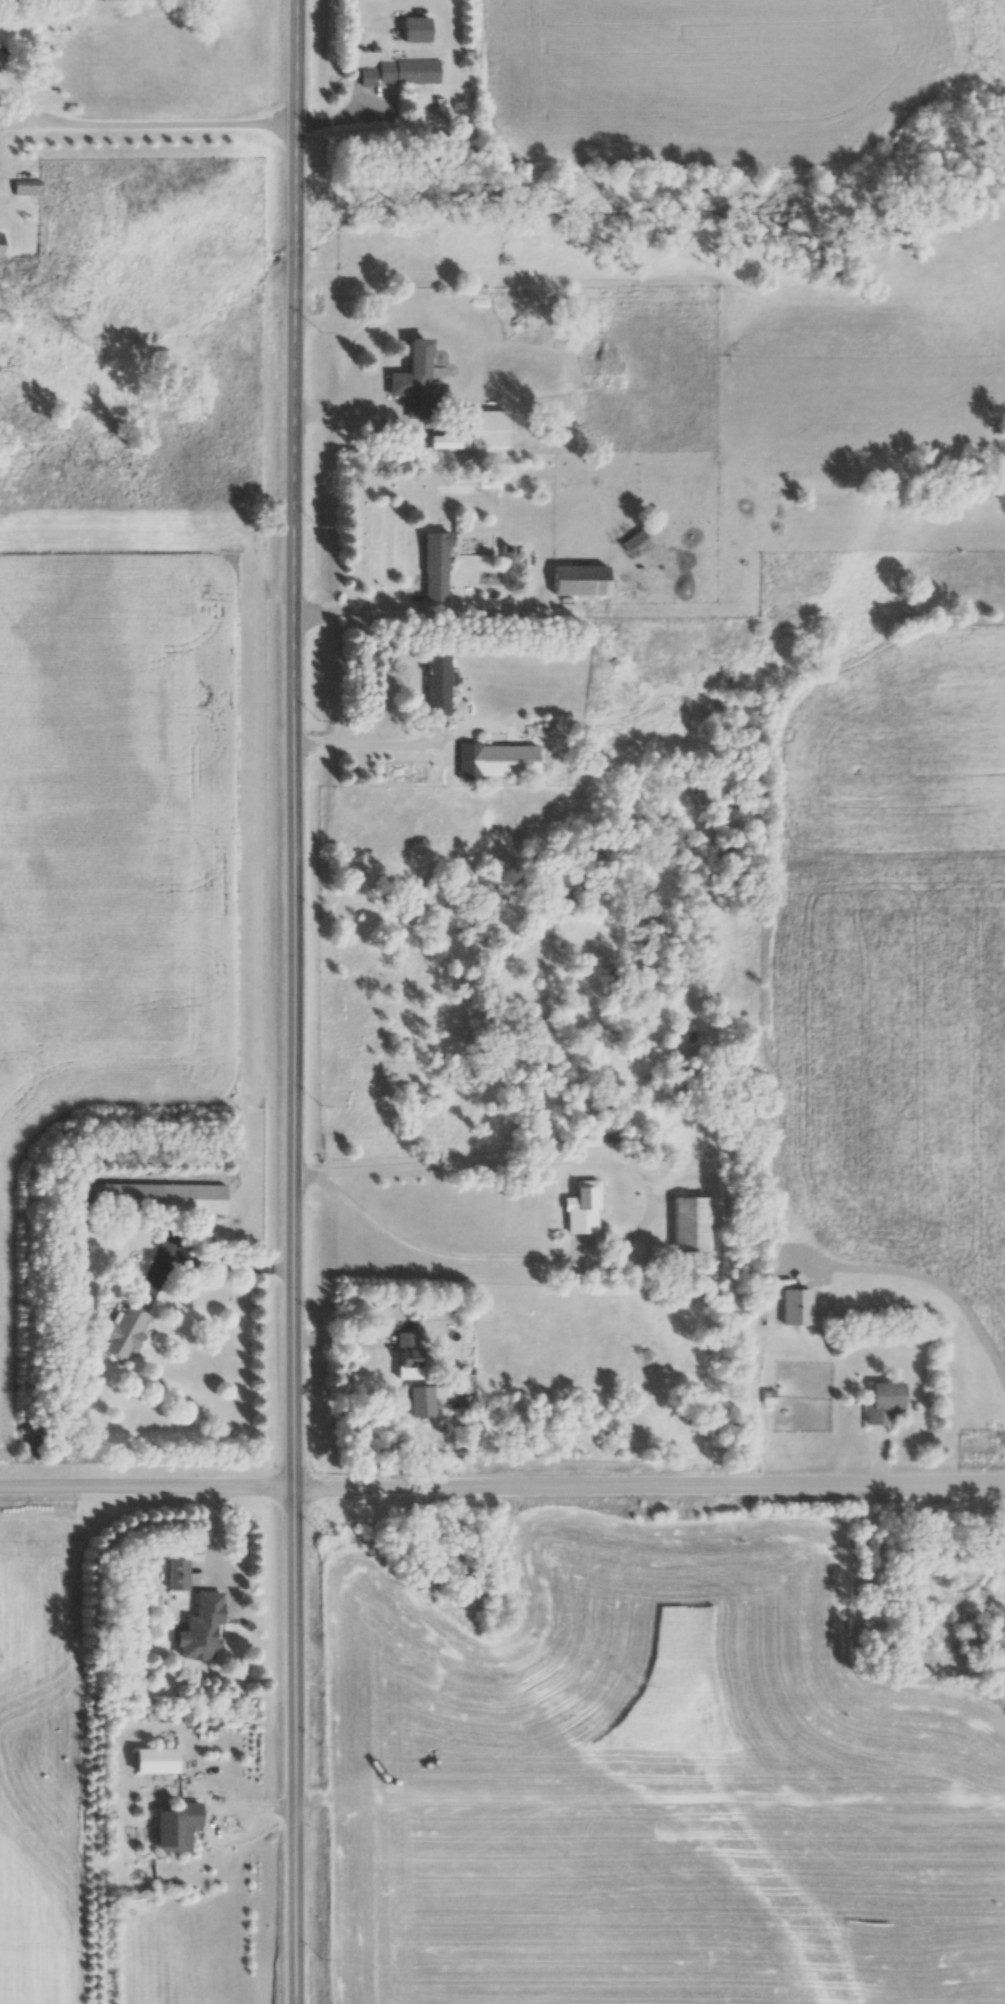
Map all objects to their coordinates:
building: (407, 71)
building: (366, 77)
road: (148, 124)
building: (24, 187)
building: (411, 379)
road: (363, 409)
building: (484, 428)
building: (632, 538)
road: (148, 562)
building: (433, 565)
building: (577, 579)
road: (351, 605)
building: (435, 684)
road: (369, 743)
building: (494, 759)
road: (297, 1001)
building: (585, 1194)
building: (153, 1197)
road: (646, 1214)
building: (688, 1224)
building: (123, 1333)
building: (405, 1355)
building: (767, 1396)
building: (418, 1401)
building: (882, 1403)
road: (502, 1488)
building: (176, 1575)
building: (977, 1588)
building: (200, 1615)
building: (970, 1634)
building: (184, 1711)
building: (152, 1760)
building: (174, 1826)

